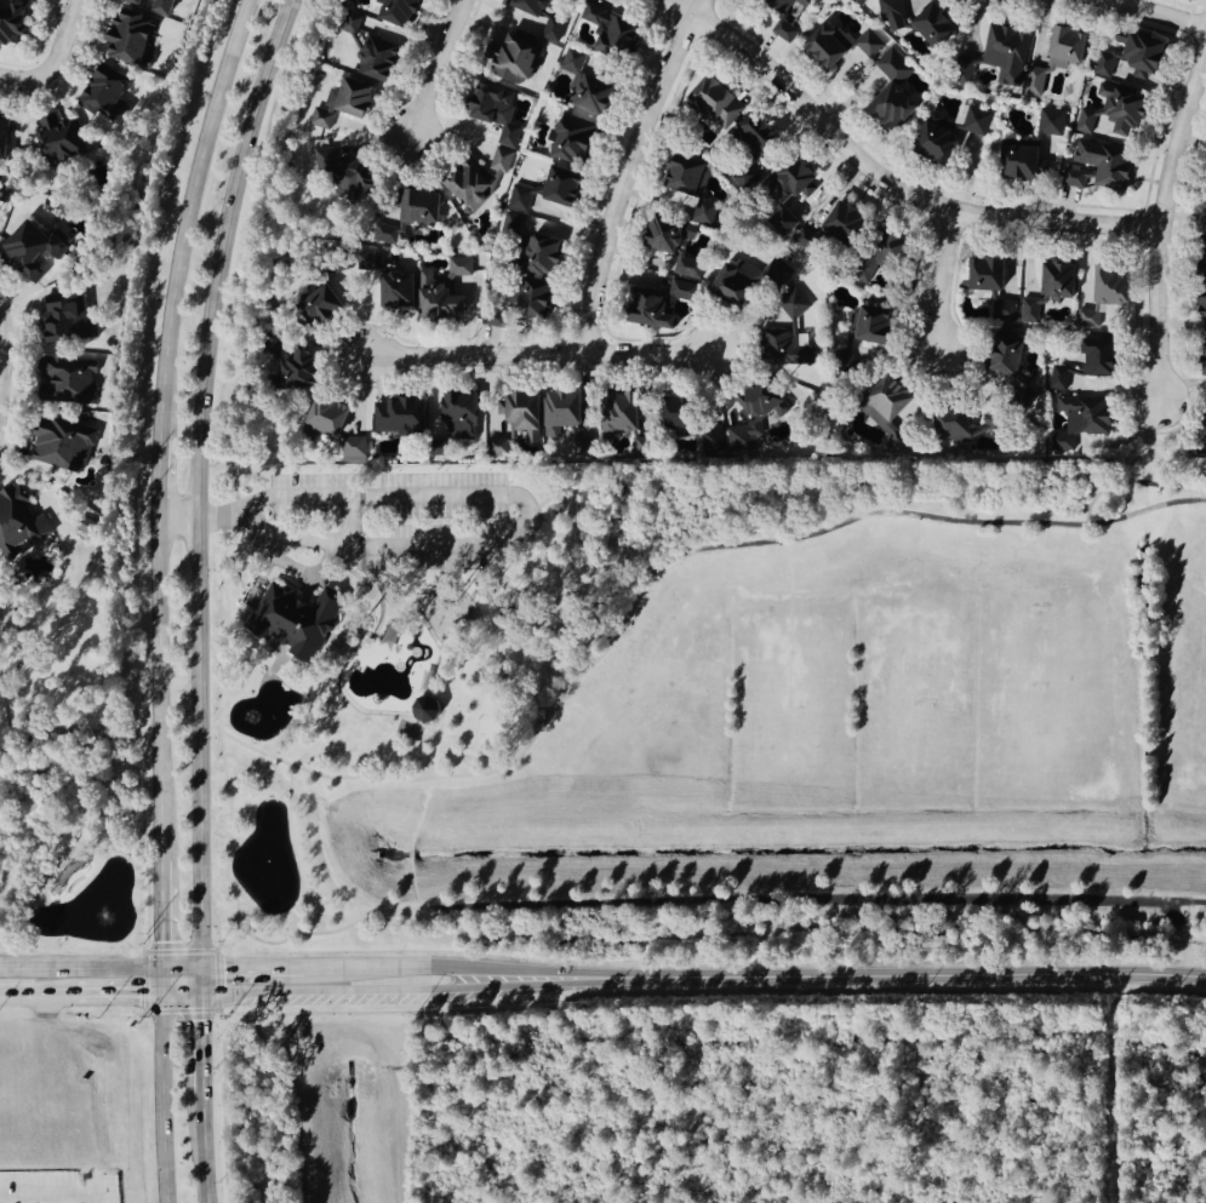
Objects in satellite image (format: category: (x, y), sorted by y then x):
building: (139, 1)
building: (782, 2)
building: (807, 2)
building: (168, 6)
building: (405, 11)
road: (1154, 11)
building: (896, 13)
building: (596, 15)
building: (544, 17)
building: (16, 21)
building: (941, 24)
building: (788, 29)
building: (622, 35)
building: (136, 36)
building: (844, 44)
building: (1059, 47)
building: (1002, 53)
building: (1124, 56)
building: (522, 57)
road: (52, 58)
building: (383, 58)
road: (435, 67)
building: (1031, 82)
building: (590, 85)
building: (899, 91)
building: (112, 93)
building: (721, 101)
building: (348, 103)
building: (501, 111)
building: (974, 121)
building: (1048, 124)
building: (764, 133)
building: (6, 134)
building: (64, 139)
building: (579, 141)
building: (503, 160)
building: (327, 161)
building: (1013, 161)
building: (1094, 166)
road: (627, 170)
road: (879, 173)
building: (692, 176)
building: (801, 178)
building: (367, 179)
building: (476, 185)
building: (568, 188)
building: (524, 197)
building: (427, 206)
road: (1161, 211)
building: (708, 212)
road: (188, 218)
building: (852, 223)
building: (514, 224)
building: (396, 236)
building: (680, 247)
building: (36, 248)
building: (895, 251)
building: (549, 254)
building: (1204, 257)
building: (463, 267)
building: (982, 275)
building: (750, 280)
road: (943, 280)
building: (395, 281)
building: (1046, 290)
building: (1103, 290)
building: (687, 291)
building: (445, 299)
building: (527, 303)
building: (326, 305)
building: (1198, 305)
building: (1006, 311)
building: (661, 313)
building: (72, 316)
building: (878, 327)
building: (793, 334)
road: (538, 353)
building: (996, 356)
building: (1091, 356)
building: (1200, 357)
road: (1, 359)
building: (308, 368)
building: (75, 377)
building: (1057, 377)
building: (881, 403)
building: (627, 411)
building: (685, 412)
building: (1201, 412)
building: (335, 416)
building: (404, 416)
building: (467, 416)
building: (759, 417)
building: (573, 419)
building: (1078, 419)
building: (526, 422)
building: (956, 425)
building: (715, 442)
building: (65, 443)
building: (647, 446)
building: (356, 449)
road: (1133, 459)
road: (199, 479)
road: (158, 480)
road: (526, 514)
road: (232, 515)
road: (215, 517)
road: (177, 519)
building: (21, 521)
road: (661, 568)
building: (296, 619)
park: (680, 629)
road: (158, 689)
building: (434, 709)
road: (416, 815)
road: (321, 857)
road: (410, 857)
road: (411, 884)
road: (535, 907)
road: (159, 916)
road: (815, 939)
road: (217, 951)
road: (343, 968)
road: (251, 969)
traffic signals: (159, 970)
road: (178, 970)
traffic signals: (199, 970)
road: (473, 970)
road: (79, 972)
road: (884, 976)
road: (198, 983)
road: (281, 993)
traffic signals: (159, 996)
traffic signals: (198, 996)
road: (200, 1047)
road: (161, 1087)
road: (204, 1151)
road: (52, 1196)

